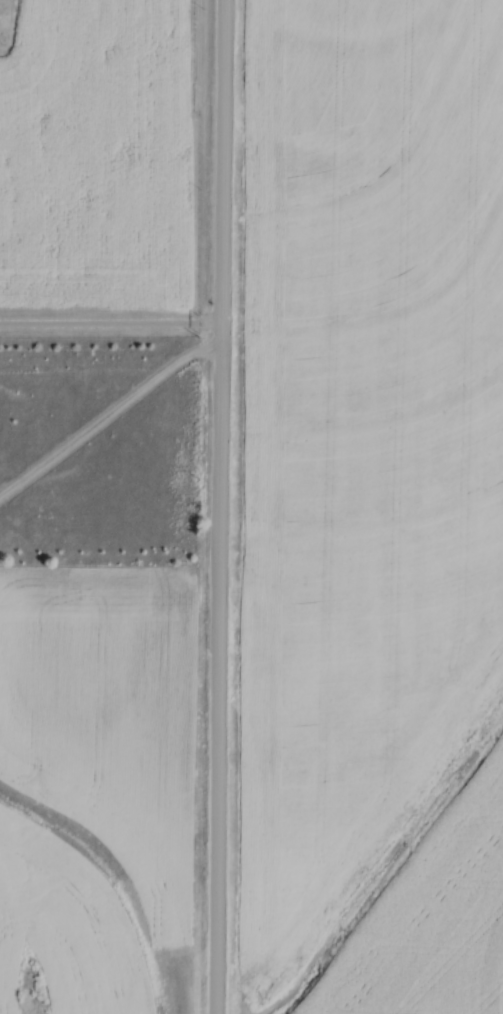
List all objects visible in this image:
road: (111, 327)
road: (107, 409)
road: (219, 506)

